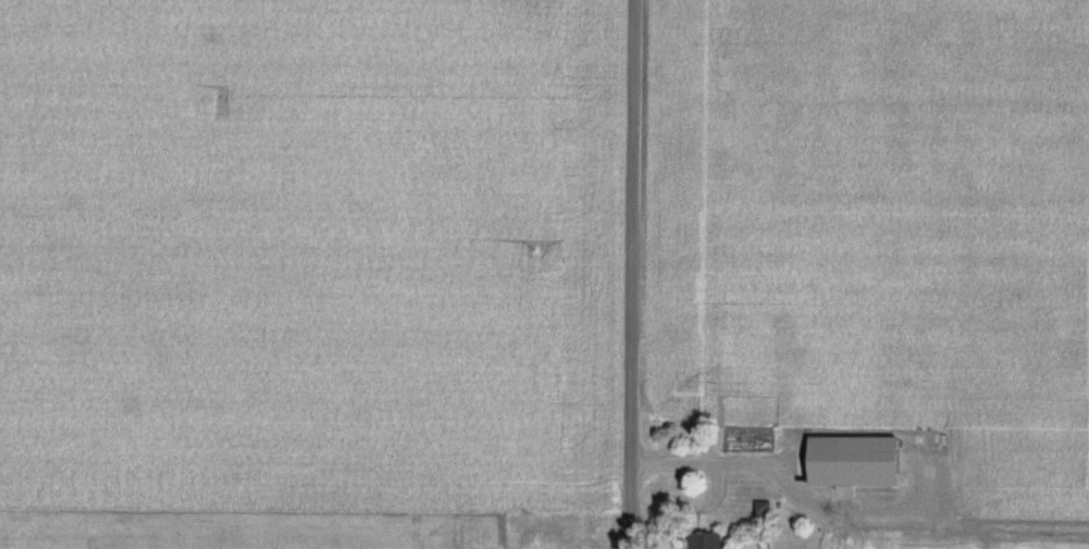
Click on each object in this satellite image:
road: (633, 274)
road: (731, 463)
building: (708, 540)

